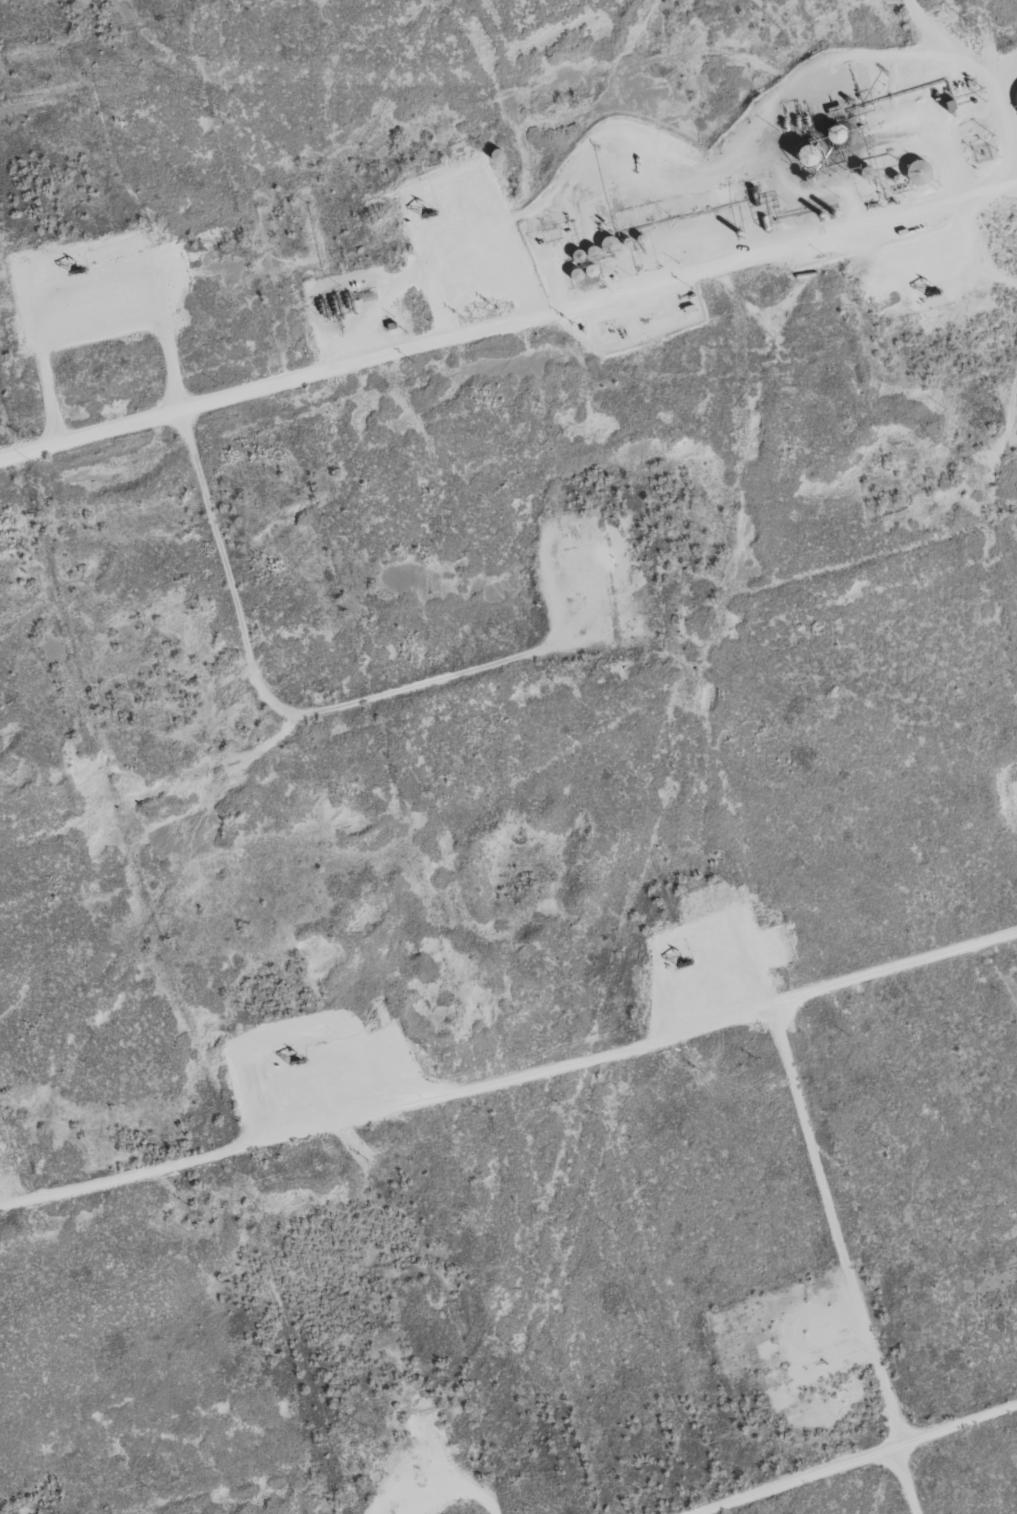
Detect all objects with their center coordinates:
road: (979, 63)
road: (130, 205)
road: (508, 320)
road: (225, 573)
road: (858, 1459)
road: (488, 1502)

